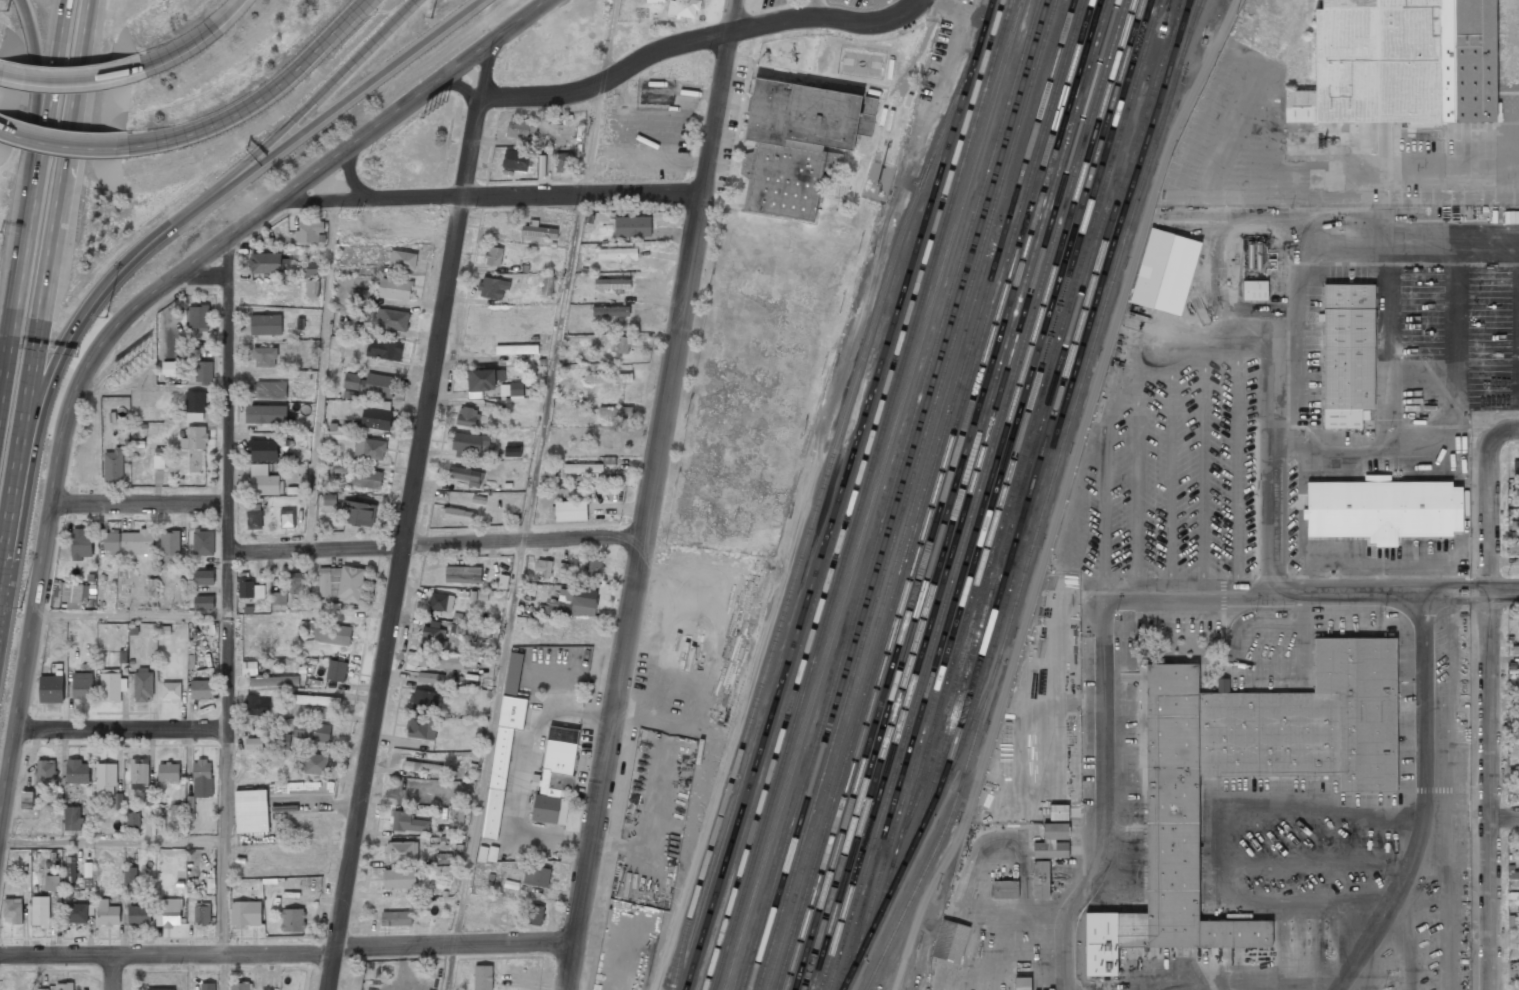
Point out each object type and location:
building: (654, 0)
parking lot: (813, 4)
building: (684, 8)
road: (815, 8)
street lamp: (4, 10)
street lamp: (431, 17)
railway: (1196, 19)
road: (694, 38)
road: (197, 39)
road: (609, 40)
building: (1398, 62)
road: (72, 80)
road: (38, 87)
road: (51, 88)
road: (460, 88)
road: (260, 97)
railway: (973, 101)
railway: (981, 102)
road: (338, 106)
road: (306, 107)
building: (807, 115)
building: (520, 128)
road: (594, 137)
road: (62, 144)
road: (62, 159)
building: (517, 160)
building: (564, 162)
road: (348, 173)
building: (788, 177)
road: (534, 194)
road: (325, 196)
road: (252, 218)
building: (588, 218)
building: (632, 226)
building: (308, 231)
building: (539, 232)
building: (617, 253)
road: (227, 255)
building: (493, 255)
building: (1254, 255)
building: (402, 260)
building: (264, 263)
building: (524, 268)
building: (310, 272)
building: (1165, 272)
road: (202, 274)
building: (612, 284)
building: (547, 285)
building: (311, 288)
building: (393, 288)
building: (492, 288)
building: (1254, 290)
road: (18, 292)
building: (360, 297)
building: (610, 311)
building: (198, 317)
building: (392, 319)
building: (299, 323)
building: (265, 325)
road: (62, 345)
building: (620, 345)
building: (384, 349)
building: (516, 350)
building: (192, 354)
building: (1347, 354)
building: (264, 356)
road: (555, 367)
building: (174, 368)
road: (322, 371)
building: (203, 372)
building: (607, 377)
building: (351, 381)
building: (482, 381)
railway: (1072, 381)
building: (378, 385)
building: (269, 390)
building: (511, 390)
building: (349, 394)
building: (195, 405)
building: (615, 412)
building: (265, 414)
building: (112, 417)
building: (466, 417)
building: (375, 418)
road: (20, 422)
railway: (1031, 429)
road: (1496, 433)
building: (337, 434)
building: (194, 438)
building: (137, 444)
building: (468, 444)
railway: (1043, 445)
building: (369, 449)
building: (263, 450)
building: (512, 451)
building: (158, 458)
building: (608, 460)
building: (113, 465)
building: (341, 468)
building: (1515, 468)
building: (584, 470)
building: (467, 476)
building: (263, 479)
building: (366, 479)
building: (291, 490)
building: (1516, 490)
railway: (925, 494)
railway: (943, 494)
railway: (952, 494)
railway: (959, 494)
railway: (969, 494)
railway: (977, 494)
road: (654, 495)
railway: (838, 495)
railway: (872, 495)
railway: (881, 495)
railway: (890, 495)
railway: (898, 495)
railway: (907, 495)
railway: (915, 495)
railway: (936, 495)
railway: (986, 495)
railway: (994, 495)
railway: (1002, 496)
building: (328, 499)
building: (477, 499)
road: (139, 500)
railway: (1046, 500)
building: (1383, 509)
building: (570, 510)
building: (357, 513)
road: (411, 514)
building: (459, 515)
building: (287, 518)
building: (253, 519)
building: (1514, 525)
road: (1, 536)
building: (111, 542)
building: (137, 542)
road: (438, 542)
building: (169, 543)
building: (202, 543)
building: (80, 544)
building: (1513, 549)
building: (543, 567)
building: (591, 569)
railway: (997, 569)
building: (561, 570)
building: (462, 574)
building: (90, 577)
building: (202, 577)
building: (324, 581)
building: (502, 581)
building: (295, 583)
building: (350, 583)
building: (152, 587)
building: (249, 588)
road: (1504, 591)
road: (1426, 592)
building: (75, 594)
building: (462, 595)
building: (472, 595)
building: (482, 596)
railway: (824, 596)
railway: (832, 597)
building: (279, 598)
building: (441, 602)
building: (203, 603)
building: (571, 603)
building: (305, 605)
building: (334, 606)
building: (247, 610)
road: (228, 612)
road: (131, 615)
building: (457, 616)
building: (577, 628)
building: (211, 629)
building: (133, 630)
building: (165, 630)
building: (471, 630)
building: (331, 634)
building: (433, 638)
road: (1103, 639)
building: (152, 650)
building: (1515, 650)
building: (122, 656)
building: (207, 659)
building: (190, 662)
building: (440, 662)
building: (249, 668)
building: (337, 670)
building: (203, 671)
road: (27, 678)
building: (432, 678)
building: (273, 681)
building: (82, 686)
building: (142, 686)
building: (1518, 686)
building: (111, 687)
building: (50, 689)
building: (201, 689)
building: (171, 691)
building: (315, 700)
building: (423, 700)
building: (255, 706)
building: (1517, 719)
road: (1490, 722)
building: (420, 727)
road: (123, 728)
building: (311, 732)
building: (280, 740)
road: (490, 742)
building: (253, 743)
building: (504, 745)
railway: (962, 745)
building: (315, 764)
building: (422, 767)
building: (77, 772)
building: (168, 772)
building: (44, 774)
building: (139, 774)
building: (105, 778)
building: (201, 778)
building: (554, 778)
building: (1518, 784)
building: (301, 787)
building: (149, 799)
building: (27, 800)
building: (118, 801)
road: (1425, 804)
building: (190, 808)
building: (251, 811)
building: (1058, 812)
building: (176, 813)
building: (459, 813)
road: (1505, 814)
building: (72, 818)
building: (132, 821)
building: (407, 822)
building: (181, 832)
building: (1052, 842)
road: (113, 844)
building: (403, 851)
building: (1171, 851)
building: (492, 853)
building: (482, 854)
building: (53, 856)
building: (443, 858)
building: (47, 864)
building: (194, 866)
building: (70, 869)
building: (129, 874)
building: (87, 876)
building: (535, 876)
building: (399, 879)
building: (1514, 879)
building: (1040, 880)
building: (51, 883)
building: (179, 883)
building: (510, 884)
building: (210, 885)
building: (69, 887)
building: (1005, 889)
building: (290, 894)
building: (58, 895)
building: (13, 910)
building: (90, 910)
building: (40, 911)
building: (75, 913)
building: (107, 913)
building: (168, 913)
building: (245, 913)
building: (533, 914)
building: (139, 915)
building: (202, 915)
building: (396, 918)
building: (292, 920)
building: (950, 941)
road: (288, 950)
road: (452, 967)
road: (223, 971)
road: (113, 972)
building: (1514, 974)
building: (482, 977)
building: (1022, 983)
building: (64, 986)
building: (239, 986)
building: (207, 987)
building: (42, 989)
building: (160, 989)

